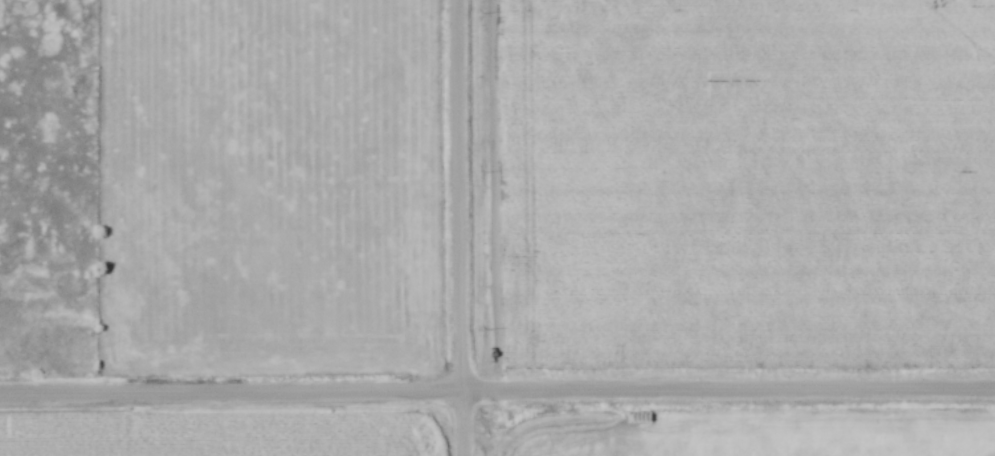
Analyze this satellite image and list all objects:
road: (455, 228)
road: (497, 392)

